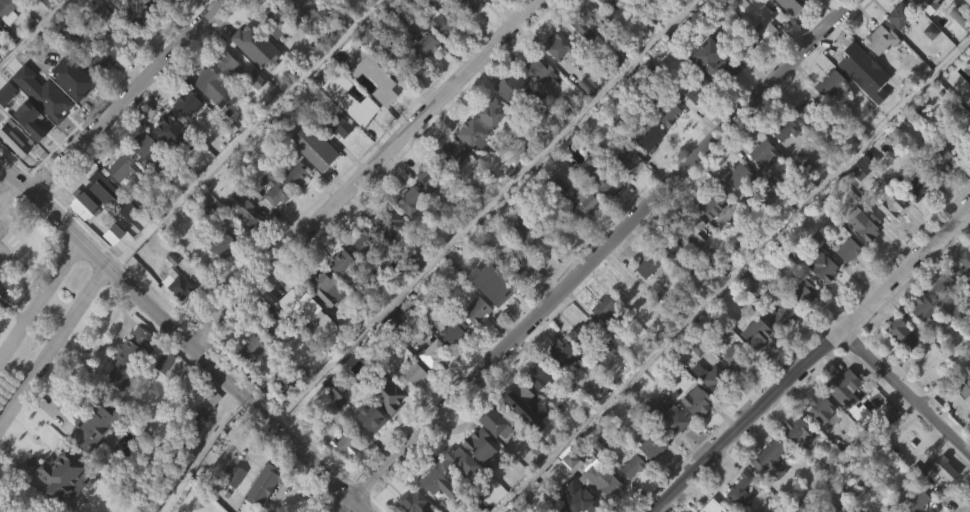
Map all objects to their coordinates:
building: (337, 0)
building: (512, 0)
building: (920, 2)
building: (156, 3)
building: (604, 3)
building: (295, 6)
building: (788, 6)
building: (6, 7)
building: (469, 7)
building: (626, 7)
building: (808, 8)
building: (490, 11)
building: (139, 13)
building: (899, 15)
building: (960, 15)
building: (757, 16)
building: (270, 17)
building: (156, 18)
building: (441, 23)
building: (587, 23)
building: (781, 23)
building: (921, 25)
building: (604, 27)
building: (293, 29)
building: (467, 32)
building: (114, 33)
building: (4, 35)
building: (135, 42)
building: (256, 45)
building: (422, 45)
building: (560, 45)
building: (742, 45)
building: (896, 47)
building: (405, 48)
building: (956, 49)
building: (438, 55)
building: (584, 56)
building: (854, 58)
building: (97, 59)
building: (225, 62)
building: (63, 68)
building: (112, 69)
building: (537, 70)
building: (878, 71)
building: (422, 77)
building: (254, 78)
building: (558, 79)
building: (206, 80)
building: (829, 83)
building: (382, 84)
building: (698, 90)
building: (95, 91)
building: (223, 92)
building: (852, 92)
road: (128, 96)
building: (59, 101)
building: (184, 102)
building: (537, 103)
building: (361, 104)
building: (33, 110)
building: (662, 110)
building: (490, 111)
building: (809, 112)
building: (826, 116)
building: (211, 118)
building: (509, 121)
building: (696, 122)
building: (335, 125)
building: (784, 128)
building: (168, 131)
building: (650, 137)
building: (961, 137)
building: (461, 138)
building: (490, 142)
building: (34, 143)
building: (140, 143)
building: (663, 143)
building: (312, 144)
building: (761, 151)
building: (162, 157)
building: (337, 157)
building: (782, 160)
building: (938, 160)
building: (627, 161)
building: (468, 164)
building: (117, 165)
building: (648, 169)
road: (364, 172)
building: (428, 174)
building: (736, 174)
building: (142, 176)
building: (310, 178)
building: (600, 181)
building: (450, 184)
building: (760, 185)
building: (273, 188)
building: (937, 191)
building: (627, 192)
building: (91, 197)
building: (119, 199)
building: (408, 200)
road: (38, 201)
building: (711, 201)
building: (587, 202)
building: (893, 203)
building: (1, 206)
building: (293, 206)
building: (734, 206)
road: (480, 211)
building: (248, 212)
building: (602, 212)
building: (912, 216)
building: (270, 220)
building: (389, 220)
building: (1, 223)
building: (691, 223)
building: (864, 224)
building: (92, 232)
building: (524, 232)
building: (583, 232)
building: (408, 234)
building: (710, 234)
building: (889, 237)
building: (1, 238)
building: (364, 238)
building: (218, 242)
building: (247, 246)
building: (670, 249)
building: (847, 249)
road: (92, 252)
building: (1, 253)
building: (387, 253)
road: (596, 255)
building: (407, 256)
building: (861, 256)
building: (691, 258)
building: (965, 261)
building: (340, 264)
building: (644, 264)
building: (820, 265)
building: (517, 270)
building: (362, 272)
road: (730, 273)
building: (220, 276)
building: (968, 277)
building: (845, 281)
building: (492, 283)
building: (671, 283)
building: (175, 284)
building: (942, 284)
building: (323, 288)
building: (624, 289)
building: (804, 292)
building: (339, 295)
building: (644, 296)
building: (818, 296)
building: (519, 299)
road: (38, 300)
building: (962, 300)
building: (296, 301)
building: (921, 308)
building: (476, 309)
building: (493, 314)
building: (174, 315)
building: (606, 315)
building: (783, 315)
building: (938, 315)
building: (324, 318)
building: (625, 319)
building: (801, 324)
building: (272, 325)
building: (455, 331)
building: (580, 333)
building: (757, 333)
building: (901, 333)
building: (602, 340)
building: (919, 340)
building: (474, 341)
building: (782, 345)
building: (307, 346)
road: (54, 347)
building: (249, 348)
building: (562, 351)
building: (430, 352)
road: (811, 356)
building: (735, 358)
building: (129, 359)
building: (451, 362)
building: (575, 365)
building: (899, 365)
building: (755, 366)
building: (538, 374)
building: (247, 381)
building: (557, 382)
building: (430, 384)
building: (844, 387)
building: (126, 388)
building: (732, 388)
building: (959, 389)
road: (235, 390)
building: (382, 391)
building: (161, 392)
road: (903, 393)
building: (514, 396)
building: (697, 401)
building: (411, 404)
building: (535, 406)
building: (822, 408)
building: (843, 415)
building: (367, 416)
building: (968, 416)
building: (673, 422)
building: (497, 423)
building: (90, 424)
building: (191, 424)
building: (333, 425)
building: (385, 425)
building: (210, 428)
building: (796, 429)
building: (693, 431)
building: (817, 439)
building: (344, 443)
building: (652, 443)
building: (478, 445)
building: (368, 448)
building: (193, 452)
road: (199, 453)
building: (491, 454)
building: (969, 456)
building: (89, 457)
building: (456, 459)
building: (770, 460)
building: (794, 460)
building: (631, 465)
building: (934, 471)
building: (587, 473)
building: (231, 474)
building: (342, 476)
building: (476, 476)
building: (649, 476)
building: (60, 478)
building: (430, 480)
building: (264, 484)
building: (566, 488)
building: (767, 490)
building: (455, 491)
building: (739, 491)
building: (629, 497)
building: (61, 500)
building: (916, 500)
building: (934, 501)
building: (412, 502)
building: (230, 504)
building: (264, 506)
building: (590, 506)
building: (430, 507)
building: (894, 509)
building: (36, 510)
road: (969, 511)

